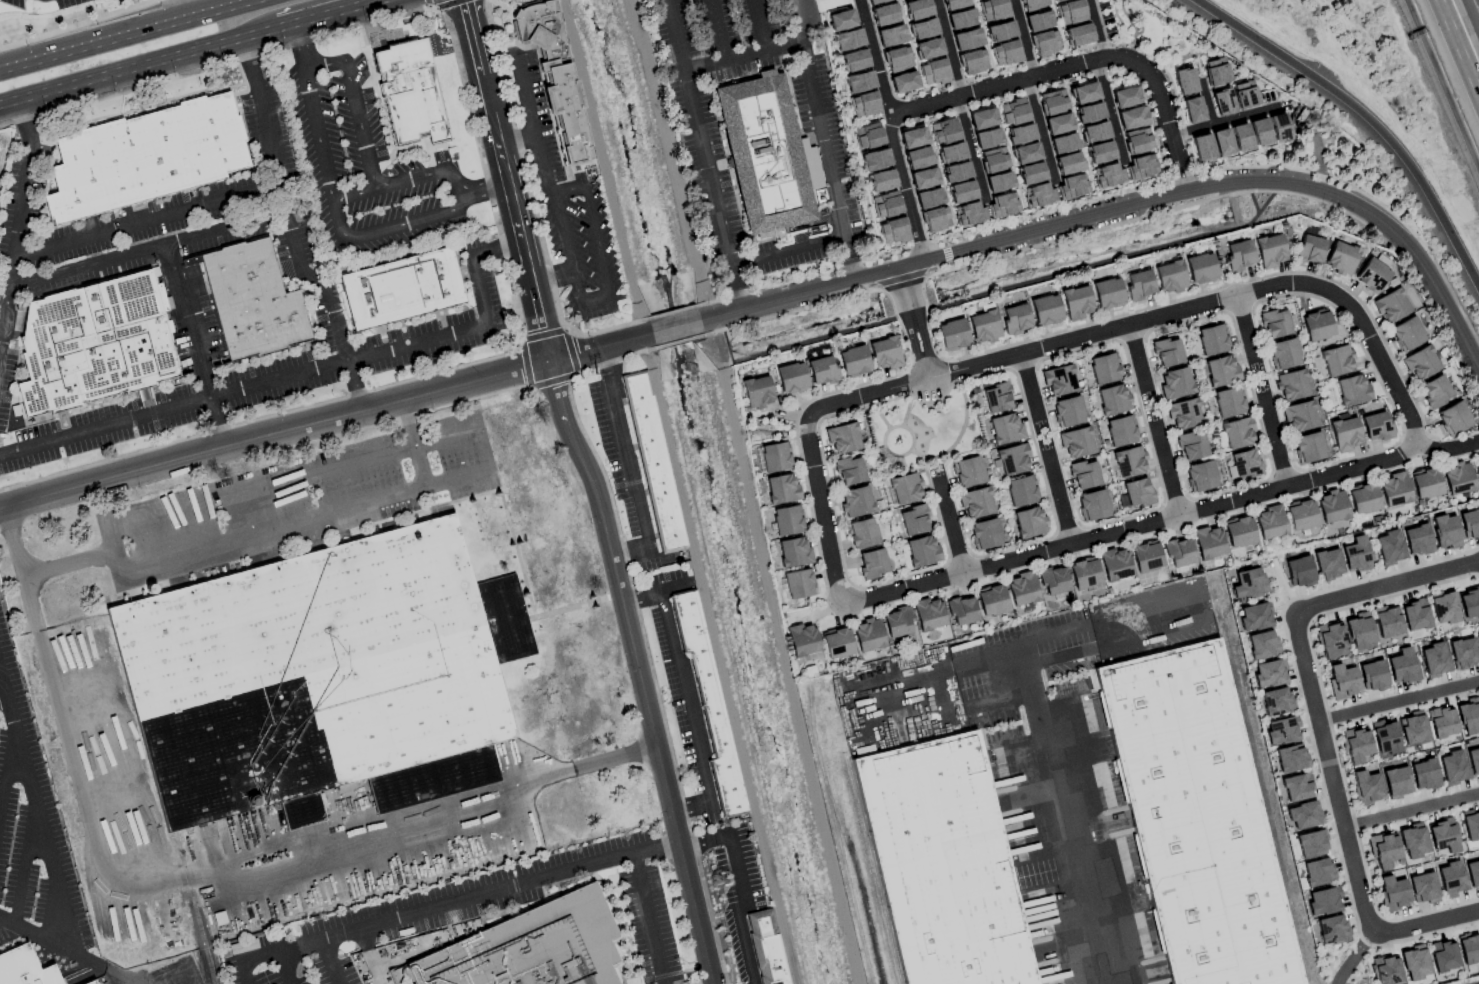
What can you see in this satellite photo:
building: (876, 1)
building: (955, 4)
building: (1033, 4)
building: (917, 9)
building: (994, 11)
building: (1071, 12)
road: (326, 14)
building: (885, 14)
building: (961, 19)
building: (1038, 21)
power tower: (436, 22)
road: (81, 24)
road: (761, 26)
road: (1058, 26)
road: (1142, 26)
road: (1098, 28)
building: (923, 29)
building: (845, 30)
building: (1000, 31)
road: (715, 32)
park: (1154, 32)
road: (126, 34)
building: (891, 35)
road: (985, 35)
building: (1078, 35)
road: (1024, 37)
road: (467, 38)
road: (1129, 38)
building: (967, 39)
road: (1135, 41)
road: (1461, 41)
building: (1045, 43)
road: (912, 45)
road: (950, 47)
building: (928, 48)
road: (298, 49)
road: (764, 53)
building: (1005, 53)
road: (875, 58)
building: (898, 59)
building: (854, 60)
road: (1162, 60)
building: (973, 61)
road: (1081, 61)
road: (1015, 66)
road: (138, 67)
building: (933, 72)
building: (1217, 72)
building: (1184, 81)
building: (859, 82)
building: (903, 82)
road: (1443, 83)
building: (416, 91)
building: (1083, 93)
building: (1246, 95)
building: (1125, 97)
building: (1053, 102)
building: (1223, 102)
building: (864, 104)
road: (1107, 108)
road: (353, 109)
building: (1193, 110)
building: (1013, 112)
building: (1088, 113)
road: (1363, 117)
building: (982, 118)
building: (1131, 118)
road: (870, 121)
road: (1222, 121)
building: (571, 123)
building: (1057, 124)
building: (1279, 128)
road: (1038, 129)
building: (944, 130)
building: (1094, 132)
building: (1260, 132)
building: (1020, 134)
building: (868, 135)
road: (852, 136)
building: (912, 137)
building: (987, 138)
building: (1241, 138)
road: (515, 140)
building: (1137, 140)
road: (899, 142)
road: (1082, 142)
building: (1222, 142)
building: (1063, 143)
building: (1202, 147)
road: (971, 148)
building: (951, 152)
building: (1099, 152)
building: (1025, 153)
road: (705, 154)
building: (767, 155)
building: (917, 157)
building: (152, 158)
building: (875, 159)
building: (993, 159)
road: (1011, 160)
road: (828, 161)
building: (1067, 163)
building: (1141, 166)
building: (955, 172)
building: (1030, 173)
building: (1107, 175)
building: (923, 178)
road: (941, 179)
road: (550, 180)
building: (881, 180)
building: (998, 181)
road: (401, 183)
road: (483, 184)
road: (503, 185)
building: (1072, 186)
road: (904, 190)
building: (961, 192)
building: (1038, 194)
building: (928, 198)
road: (211, 201)
building: (886, 204)
building: (1002, 204)
road: (1131, 207)
road: (15, 210)
building: (969, 213)
building: (935, 219)
road: (339, 225)
road: (593, 228)
road: (226, 230)
building: (893, 231)
road: (945, 244)
road: (496, 248)
building: (1309, 249)
building: (1270, 250)
road: (790, 251)
road: (892, 254)
road: (947, 254)
building: (1238, 255)
building: (1340, 258)
road: (951, 265)
building: (1200, 268)
road: (939, 271)
building: (1371, 275)
building: (1169, 277)
road: (551, 278)
road: (901, 278)
building: (1139, 284)
building: (402, 287)
road: (1262, 290)
building: (1107, 293)
road: (596, 300)
building: (1076, 302)
building: (252, 303)
building: (1390, 305)
building: (1045, 309)
building: (1014, 319)
road: (188, 323)
road: (915, 323)
building: (1275, 323)
building: (1316, 325)
building: (983, 326)
road: (537, 327)
road: (671, 328)
road: (1245, 328)
building: (952, 334)
building: (1406, 334)
building: (1212, 339)
building: (96, 342)
road: (592, 347)
building: (1166, 352)
building: (884, 353)
building: (1283, 354)
road: (1137, 358)
building: (1336, 360)
building: (853, 361)
building: (1420, 363)
building: (1104, 368)
power tower: (594, 369)
building: (821, 371)
building: (1221, 371)
building: (791, 378)
building: (1058, 380)
road: (281, 381)
building: (1175, 382)
road: (552, 385)
building: (1291, 385)
road: (354, 387)
road: (1030, 390)
building: (1352, 390)
building: (1435, 391)
building: (757, 392)
building: (997, 397)
building: (1112, 400)
building: (1228, 402)
building: (1067, 411)
building: (1182, 413)
building: (1299, 416)
building: (1453, 418)
road: (214, 424)
park: (921, 424)
building: (1376, 426)
building: (1005, 429)
building: (1120, 431)
building: (1237, 433)
building: (1345, 433)
road: (272, 434)
building: (842, 438)
building: (1075, 442)
road: (1275, 442)
road: (413, 444)
building: (1192, 445)
road: (1447, 450)
building: (775, 457)
building: (1011, 459)
building: (651, 461)
building: (1128, 461)
road: (628, 463)
building: (1244, 464)
building: (848, 470)
road: (1168, 470)
building: (967, 471)
building: (1477, 472)
building: (1084, 474)
building: (1200, 476)
building: (1458, 478)
building: (1425, 483)
building: (905, 488)
building: (781, 489)
building: (1394, 489)
building: (1021, 491)
road: (411, 492)
building: (1137, 492)
building: (1363, 499)
building: (856, 501)
road: (1057, 501)
building: (975, 503)
building: (1092, 505)
building: (1332, 506)
building: (1301, 515)
building: (786, 520)
building: (913, 520)
building: (1029, 522)
building: (1270, 522)
road: (949, 523)
building: (1469, 523)
building: (1445, 531)
building: (1238, 532)
building: (861, 533)
building: (985, 534)
building: (1417, 540)
building: (1208, 542)
building: (1389, 547)
building: (922, 551)
building: (794, 552)
building: (1178, 552)
building: (1356, 554)
building: (1146, 556)
building: (872, 564)
building: (1114, 564)
building: (1327, 564)
building: (1298, 571)
building: (1084, 573)
building: (1053, 580)
building: (798, 583)
building: (1247, 583)
road: (929, 584)
road: (666, 588)
building: (1022, 588)
road: (637, 598)
building: (991, 600)
building: (1469, 603)
building: (1443, 607)
building: (962, 611)
building: (928, 614)
building: (1414, 615)
building: (1254, 616)
building: (1387, 621)
building: (896, 622)
building: (1359, 631)
building: (868, 634)
building: (802, 639)
building: (1331, 640)
building: (1477, 641)
building: (837, 643)
road: (1116, 644)
building: (1262, 644)
road: (779, 651)
building: (1463, 653)
road: (716, 659)
building: (1434, 659)
building: (1402, 666)
building: (1267, 673)
building: (1372, 675)
building: (325, 677)
building: (1342, 681)
park: (1477, 689)
road: (646, 694)
building: (1275, 701)
road: (1398, 701)
building: (708, 703)
road: (688, 705)
building: (1469, 715)
building: (1441, 722)
building: (1412, 728)
building: (1281, 730)
road: (1321, 733)
building: (1384, 737)
building: (1356, 744)
building: (1290, 758)
building: (1473, 761)
building: (1452, 767)
road: (6, 772)
building: (1424, 774)
building: (1396, 782)
building: (1296, 787)
building: (1366, 787)
road: (36, 809)
road: (686, 811)
road: (1412, 811)
building: (1303, 815)
building: (1203, 822)
building: (1470, 824)
road: (1067, 826)
railway: (836, 835)
building: (1443, 835)
road: (706, 839)
building: (1413, 840)
building: (1311, 843)
road: (657, 848)
building: (1383, 850)
building: (950, 864)
road: (25, 868)
railway: (871, 870)
building: (1317, 872)
power tower: (718, 873)
building: (1472, 873)
road: (199, 875)
railway: (856, 875)
building: (1450, 879)
building: (1423, 888)
building: (1392, 893)
building: (1323, 900)
railway: (194, 905)
road: (435, 906)
road: (739, 907)
road: (648, 917)
building: (1331, 929)
building: (531, 946)
building: (766, 948)
building: (1469, 948)
road: (68, 949)
building: (1443, 955)
road: (1356, 957)
road: (330, 961)
building: (1414, 963)
road: (284, 967)
building: (29, 969)
building: (1386, 970)
road: (241, 972)
building: (90, 982)
building: (101, 983)

